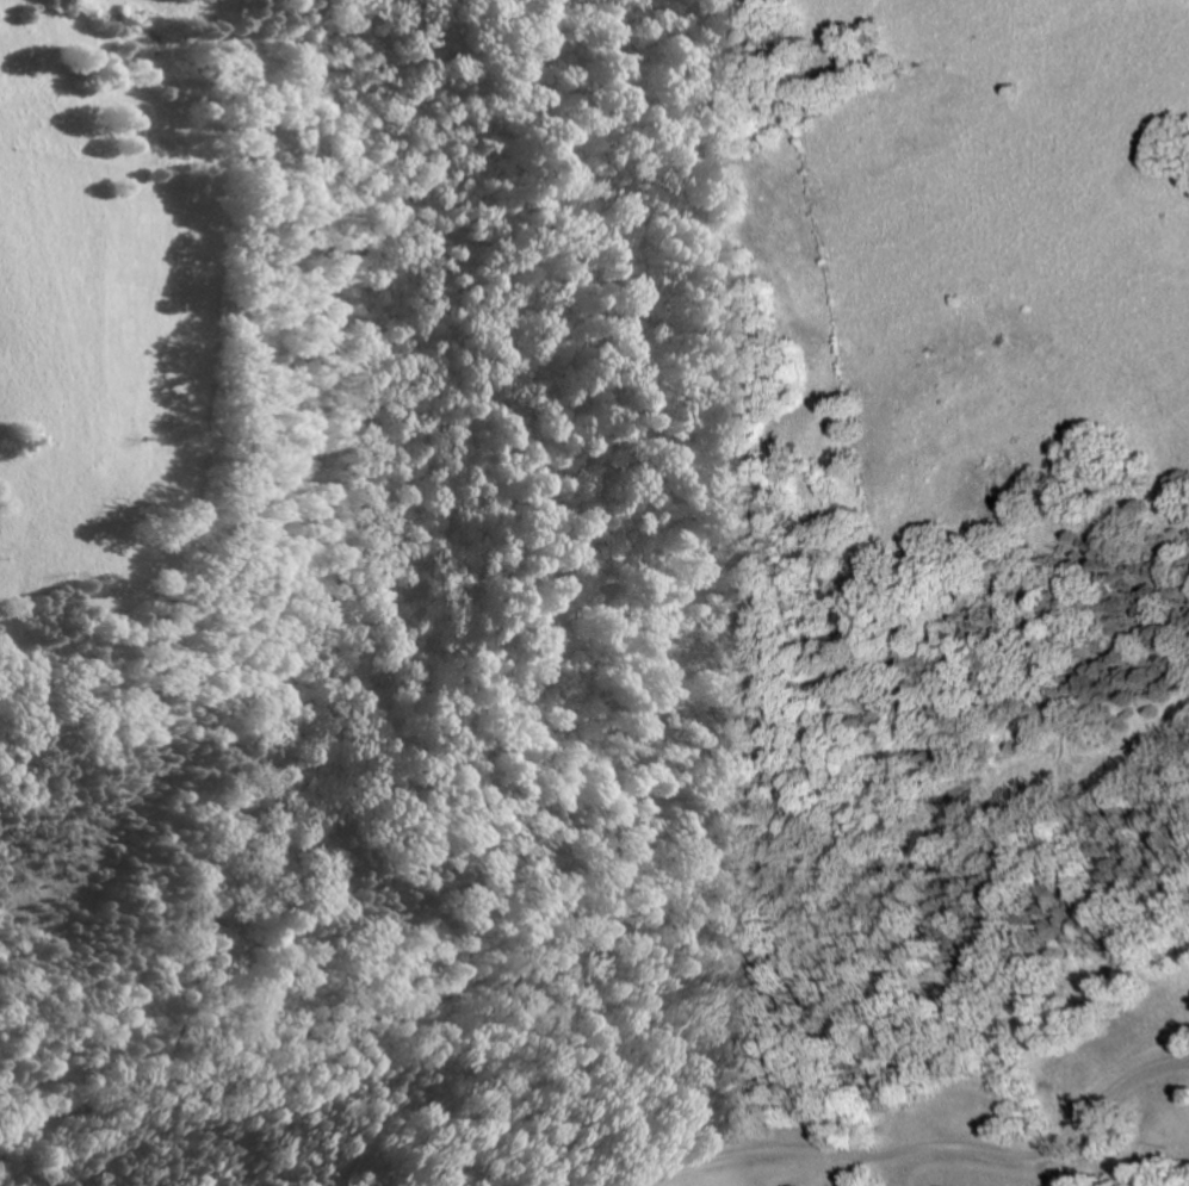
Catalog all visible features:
road: (705, 940)

